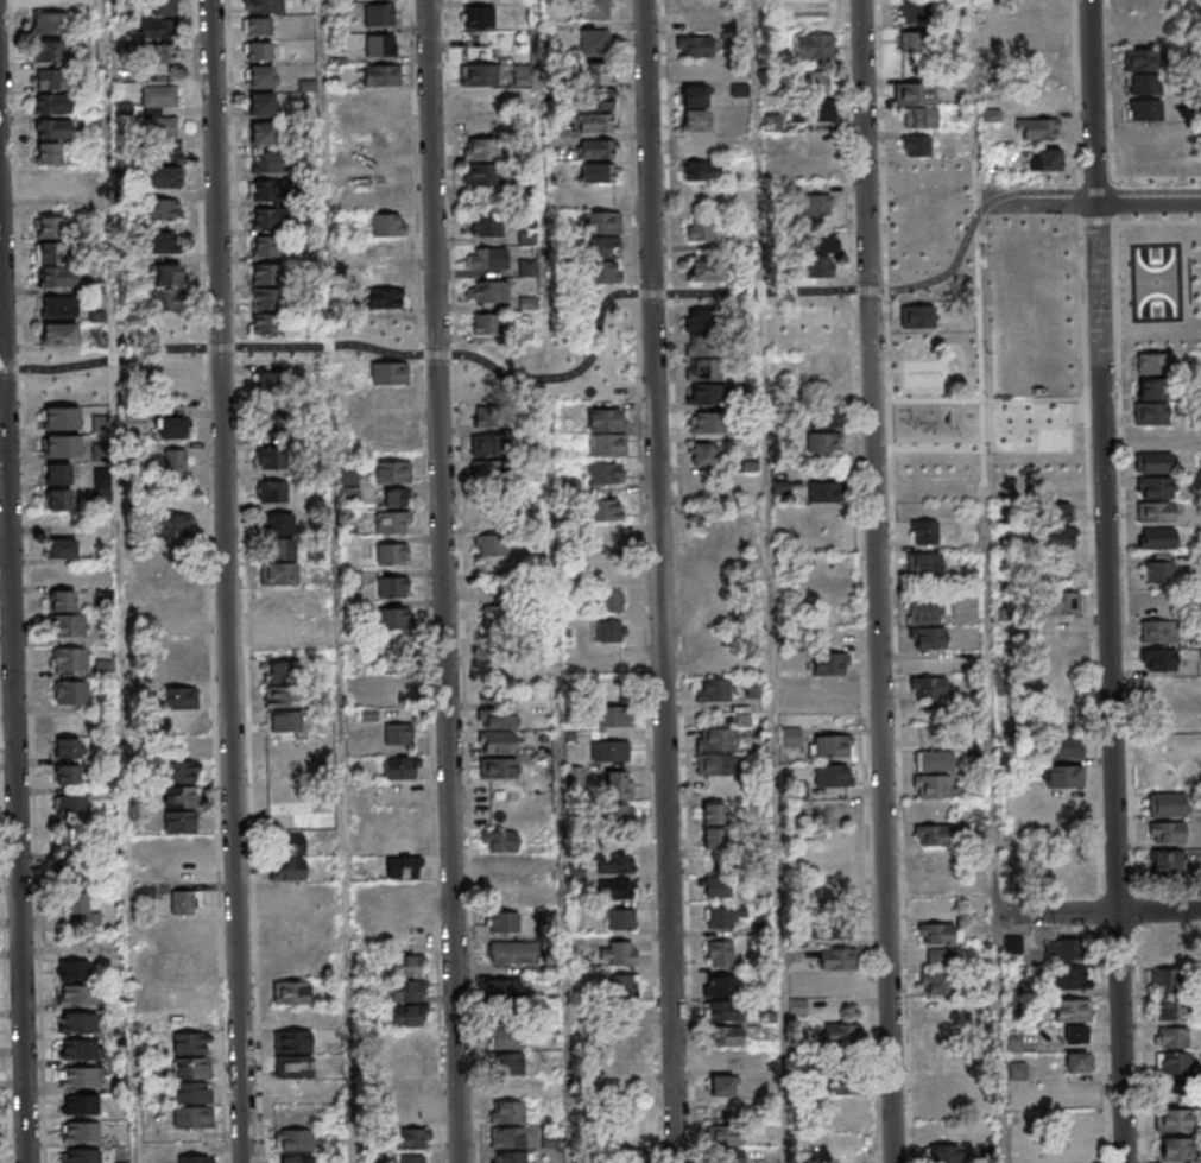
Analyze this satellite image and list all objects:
building: (696, 2)
building: (49, 4)
building: (264, 6)
building: (156, 7)
building: (593, 10)
building: (914, 11)
building: (379, 13)
building: (480, 15)
building: (50, 25)
building: (257, 25)
building: (151, 27)
building: (1044, 36)
building: (593, 43)
building: (915, 43)
building: (379, 45)
building: (694, 45)
building: (814, 46)
building: (257, 50)
building: (50, 52)
building: (160, 53)
building: (1140, 59)
building: (600, 74)
building: (381, 75)
building: (479, 75)
building: (259, 76)
building: (520, 76)
building: (52, 81)
building: (814, 81)
building: (1144, 83)
road: (1114, 89)
road: (1080, 91)
building: (915, 93)
building: (598, 97)
building: (380, 100)
road: (978, 100)
building: (52, 105)
building: (260, 105)
building: (694, 107)
building: (1145, 109)
building: (160, 112)
building: (816, 112)
building: (921, 116)
building: (596, 122)
building: (474, 124)
building: (1037, 127)
building: (53, 128)
building: (261, 133)
building: (1143, 134)
building: (916, 145)
building: (482, 148)
building: (598, 148)
building: (49, 152)
building: (163, 153)
building: (1044, 159)
building: (266, 162)
building: (701, 170)
building: (600, 171)
building: (386, 175)
building: (481, 175)
building: (53, 178)
building: (162, 178)
road: (1159, 178)
road: (1100, 181)
building: (263, 190)
road: (1118, 200)
road: (1092, 201)
road: (1085, 202)
building: (817, 204)
building: (159, 210)
building: (270, 217)
road: (1101, 221)
road: (1159, 221)
building: (602, 222)
building: (387, 223)
building: (486, 225)
building: (49, 228)
building: (701, 229)
building: (911, 234)
building: (160, 242)
building: (821, 242)
building: (268, 246)
building: (602, 247)
building: (50, 254)
building: (487, 258)
building: (526, 267)
building: (818, 267)
building: (706, 270)
building: (603, 272)
building: (165, 274)
building: (265, 274)
building: (58, 278)
building: (385, 289)
building: (1051, 290)
building: (487, 291)
building: (265, 299)
building: (58, 306)
building: (917, 316)
building: (820, 318)
building: (701, 320)
building: (479, 323)
building: (264, 324)
building: (166, 325)
building: (59, 335)
building: (701, 345)
building: (265, 348)
building: (387, 348)
building: (1151, 364)
building: (169, 378)
building: (704, 381)
building: (267, 384)
building: (61, 390)
building: (1151, 390)
building: (489, 415)
building: (1151, 415)
building: (823, 417)
building: (59, 418)
building: (270, 421)
building: (606, 421)
building: (709, 422)
building: (171, 426)
building: (922, 440)
building: (823, 443)
building: (489, 444)
building: (607, 444)
building: (62, 445)
building: (702, 455)
building: (270, 459)
building: (1153, 461)
building: (1058, 463)
building: (173, 464)
building: (922, 464)
building: (488, 469)
building: (392, 472)
building: (603, 473)
building: (58, 474)
building: (348, 485)
building: (1153, 487)
building: (695, 491)
building: (823, 491)
building: (272, 492)
building: (396, 498)
building: (1057, 500)
building: (602, 508)
building: (1155, 512)
building: (489, 520)
building: (392, 522)
building: (277, 523)
building: (171, 526)
building: (924, 531)
building: (1055, 537)
building: (1157, 537)
building: (491, 544)
building: (605, 544)
building: (62, 549)
building: (279, 549)
building: (392, 552)
building: (924, 563)
building: (1158, 567)
building: (1054, 569)
building: (278, 574)
building: (62, 575)
road: (125, 581)
road: (225, 581)
road: (339, 581)
road: (445, 581)
road: (562, 581)
road: (658, 581)
road: (773, 581)
road: (879, 581)
road: (1108, 581)
building: (392, 586)
road: (1093, 593)
building: (62, 601)
building: (609, 601)
building: (1058, 602)
road: (1127, 606)
building: (922, 613)
building: (719, 614)
road: (15, 615)
building: (494, 615)
building: (393, 618)
building: (69, 627)
building: (1158, 630)
building: (282, 631)
building: (609, 631)
building: (928, 637)
building: (1159, 658)
building: (69, 660)
building: (830, 662)
building: (1061, 664)
building: (712, 665)
building: (398, 671)
building: (278, 682)
road: (993, 682)
building: (177, 685)
building: (928, 685)
building: (830, 687)
building: (754, 688)
building: (712, 690)
building: (70, 694)
building: (617, 716)
building: (285, 721)
building: (1168, 726)
building: (495, 732)
building: (398, 733)
building: (790, 737)
building: (714, 739)
building: (284, 745)
building: (830, 745)
building: (1066, 747)
building: (68, 750)
building: (609, 750)
building: (934, 760)
building: (714, 764)
building: (399, 767)
building: (497, 767)
building: (283, 770)
building: (181, 771)
building: (833, 775)
building: (68, 776)
building: (1062, 776)
building: (618, 784)
building: (935, 785)
building: (1167, 804)
building: (70, 807)
building: (181, 809)
building: (713, 813)
building: (618, 817)
building: (287, 818)
building: (1167, 832)
building: (931, 834)
building: (712, 838)
building: (65, 840)
building: (498, 840)
building: (287, 858)
building: (615, 862)
building: (830, 862)
building: (1165, 862)
building: (404, 866)
building: (1066, 867)
building: (715, 886)
building: (617, 890)
road: (1150, 891)
building: (282, 893)
building: (76, 903)
building: (185, 903)
road: (1100, 914)
building: (722, 915)
building: (620, 919)
building: (504, 922)
building: (760, 930)
building: (940, 933)
building: (1012, 946)
building: (1057, 949)
building: (618, 953)
building: (720, 953)
building: (508, 954)
building: (943, 957)
building: (837, 959)
building: (406, 965)
building: (176, 968)
building: (72, 969)
building: (1072, 976)
building: (1165, 979)
building: (720, 985)
building: (620, 987)
building: (502, 990)
building: (406, 991)
building: (291, 992)
building: (937, 995)
building: (82, 997)
building: (797, 1007)
building: (1170, 1009)
building: (722, 1010)
building: (1074, 1010)
building: (406, 1015)
building: (82, 1024)
building: (836, 1034)
building: (1077, 1034)
building: (725, 1036)
building: (1174, 1036)
building: (506, 1038)
building: (291, 1041)
road: (1138, 1044)
road: (1102, 1045)
building: (83, 1053)
building: (1077, 1062)
building: (1174, 1062)
building: (507, 1064)
building: (410, 1066)
building: (292, 1067)
building: (84, 1080)
building: (721, 1086)
building: (843, 1086)
building: (192, 1093)
building: (86, 1107)
building: (506, 1112)
building: (192, 1117)
building: (1172, 1119)
building: (86, 1134)
building: (506, 1137)
building: (411, 1138)
building: (293, 1139)
building: (726, 1144)
building: (628, 1146)
building: (1176, 1148)
building: (943, 1153)
building: (87, 1157)
building: (507, 1157)
building: (196, 1158)
building: (296, 1158)
building: (412, 1158)

